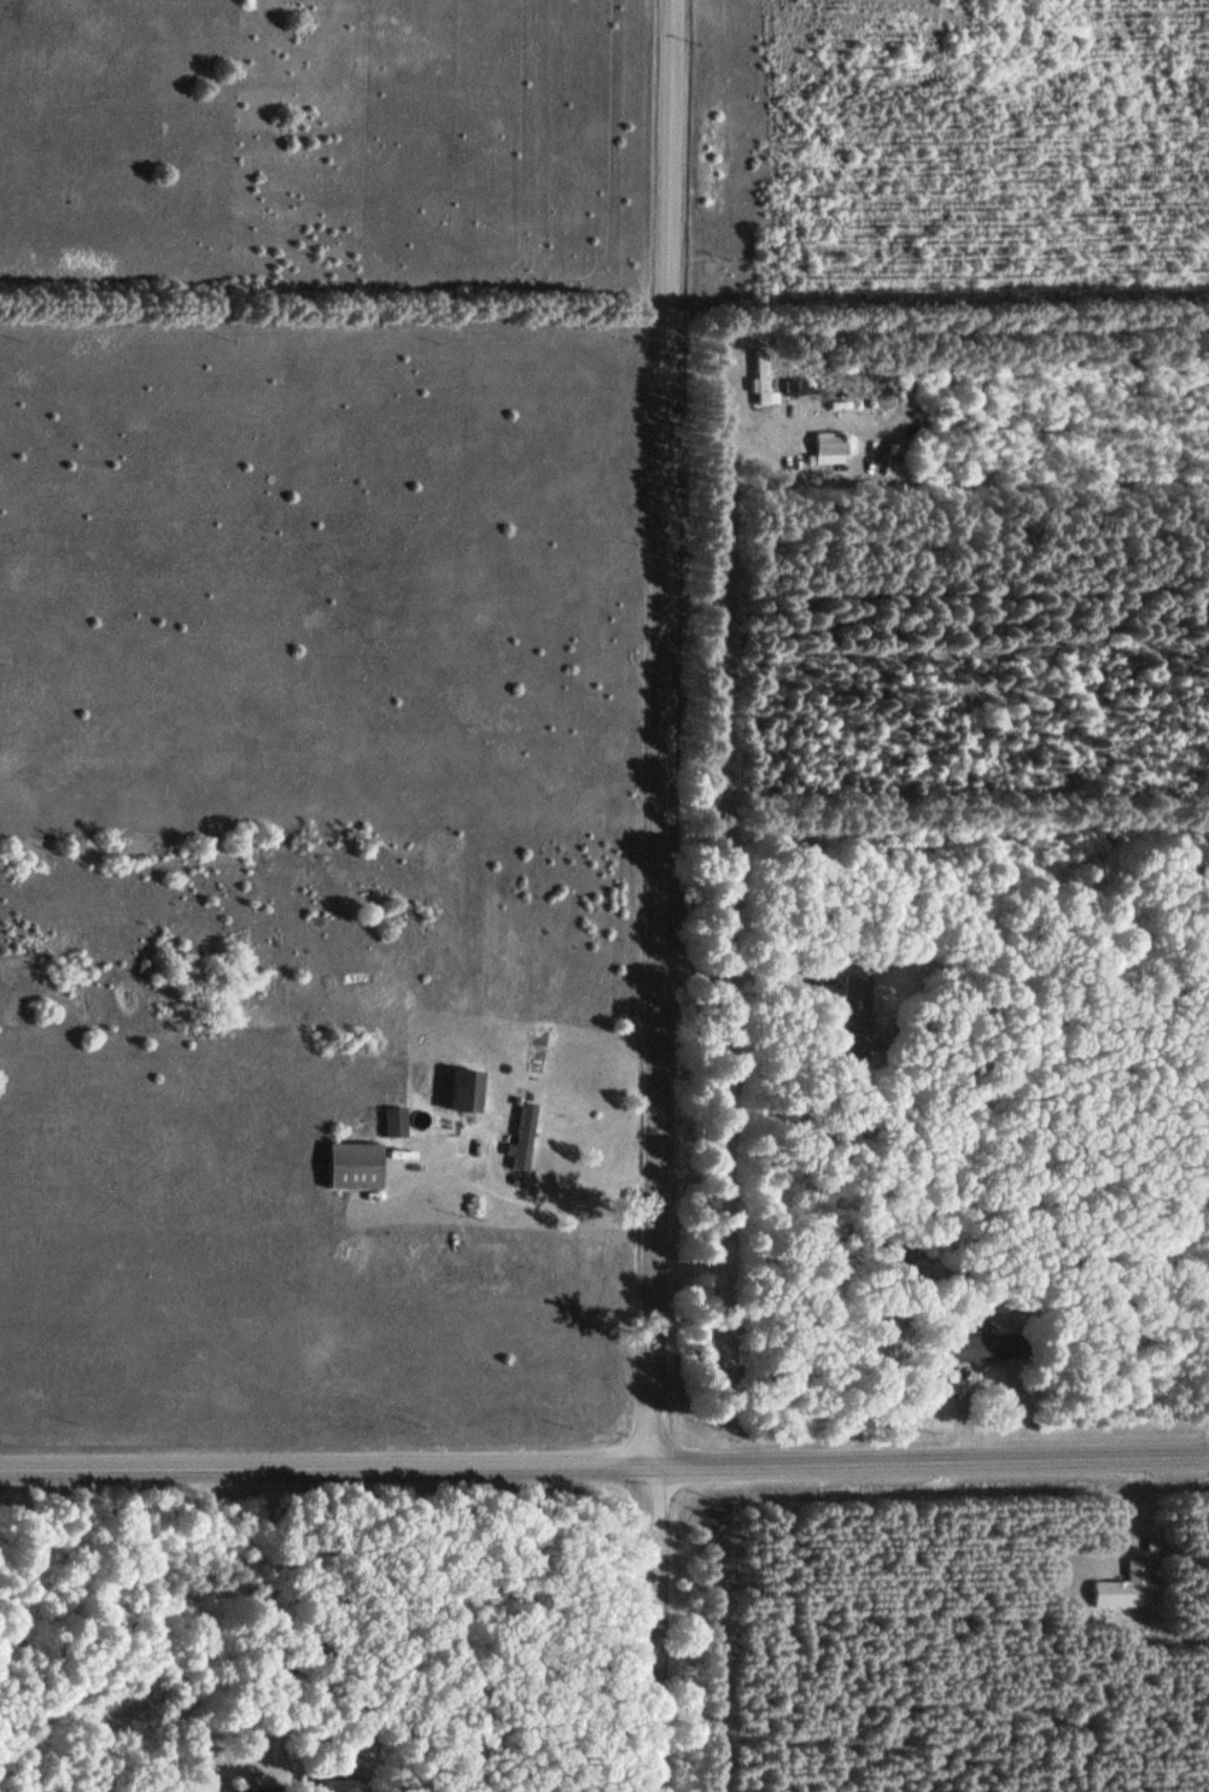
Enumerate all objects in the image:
building: (761, 377)
building: (829, 446)
road: (661, 895)
building: (853, 1016)
building: (393, 1120)
building: (522, 1134)
building: (351, 1164)
building: (987, 1347)
road: (604, 1465)
building: (1122, 1587)
building: (281, 1666)
building: (343, 1785)
building: (251, 1790)

